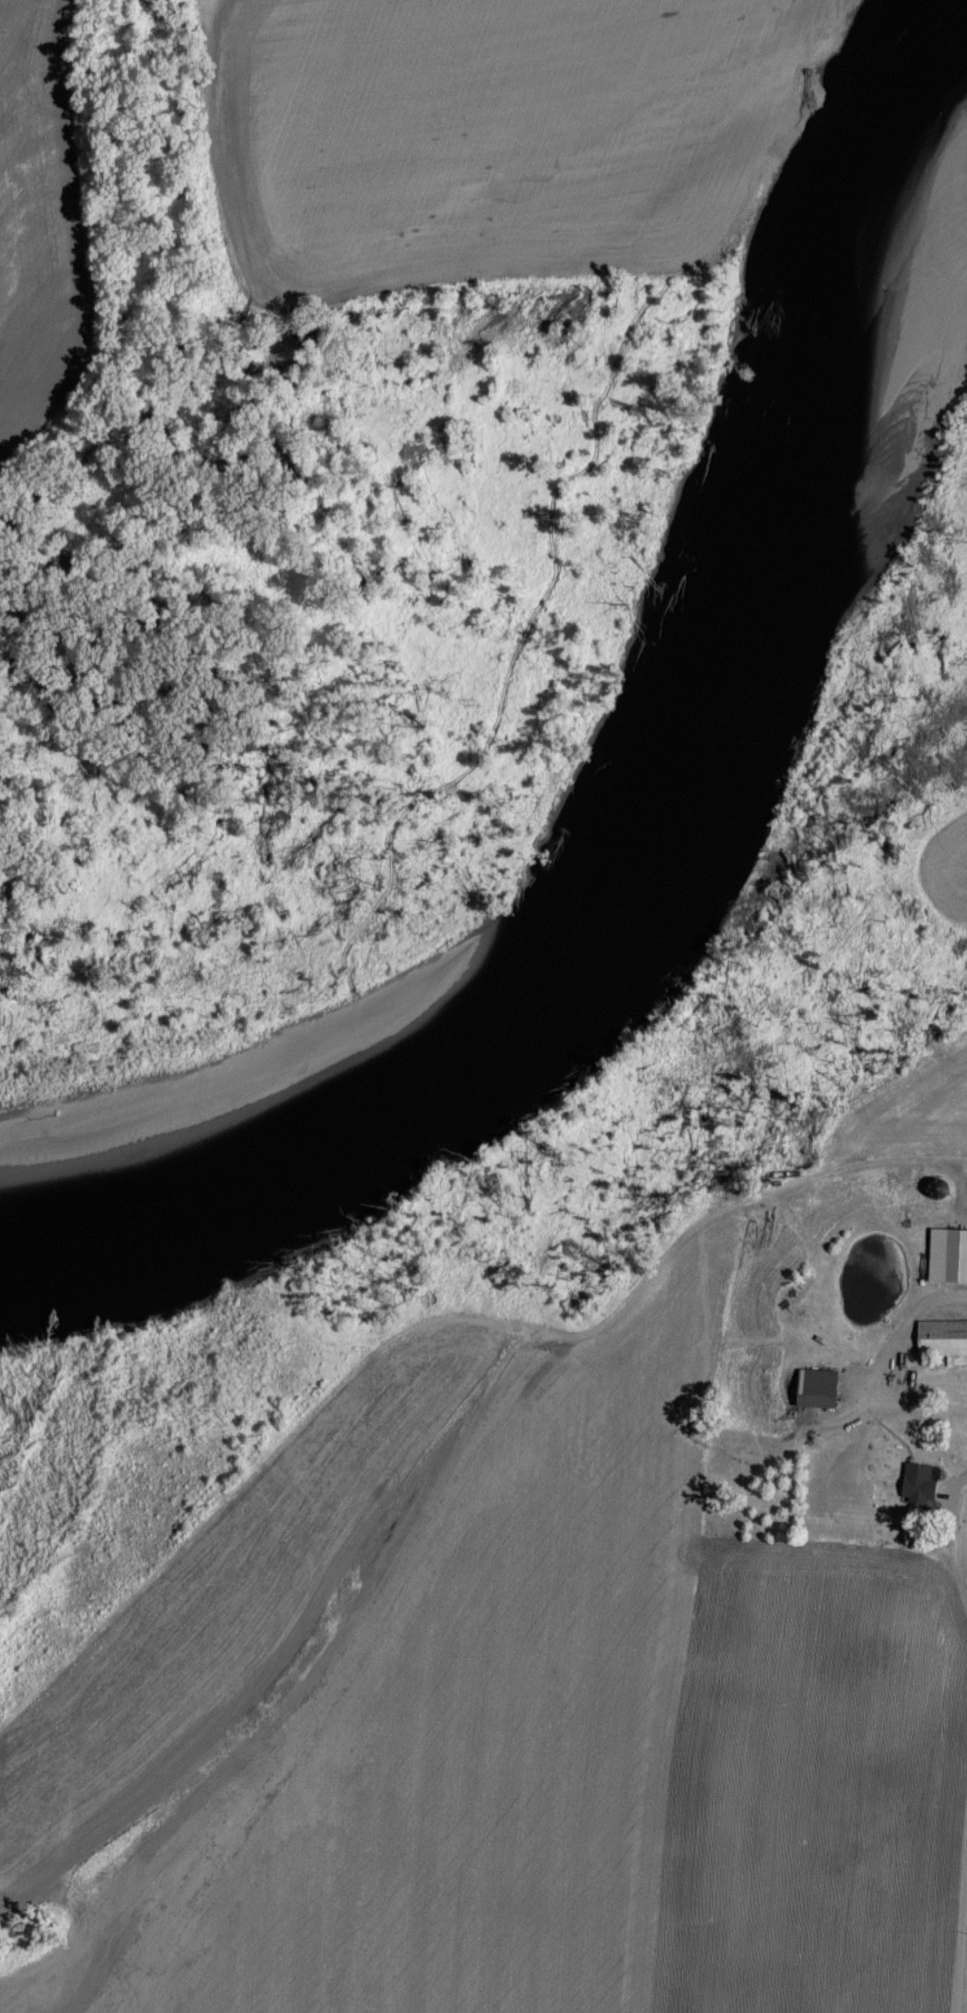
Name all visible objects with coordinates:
river: (647, 884)
building: (956, 1254)
road: (904, 1325)
building: (942, 1336)
building: (816, 1386)
road: (907, 1401)
building: (915, 1480)
road: (950, 1535)
road: (962, 1955)

